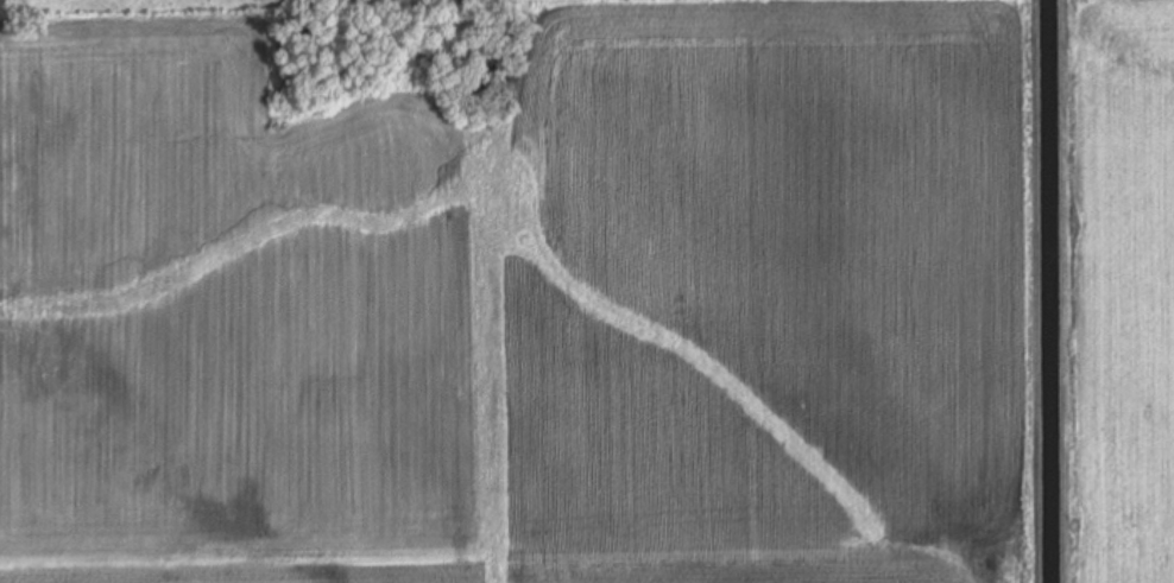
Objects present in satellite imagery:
road: (1049, 291)

